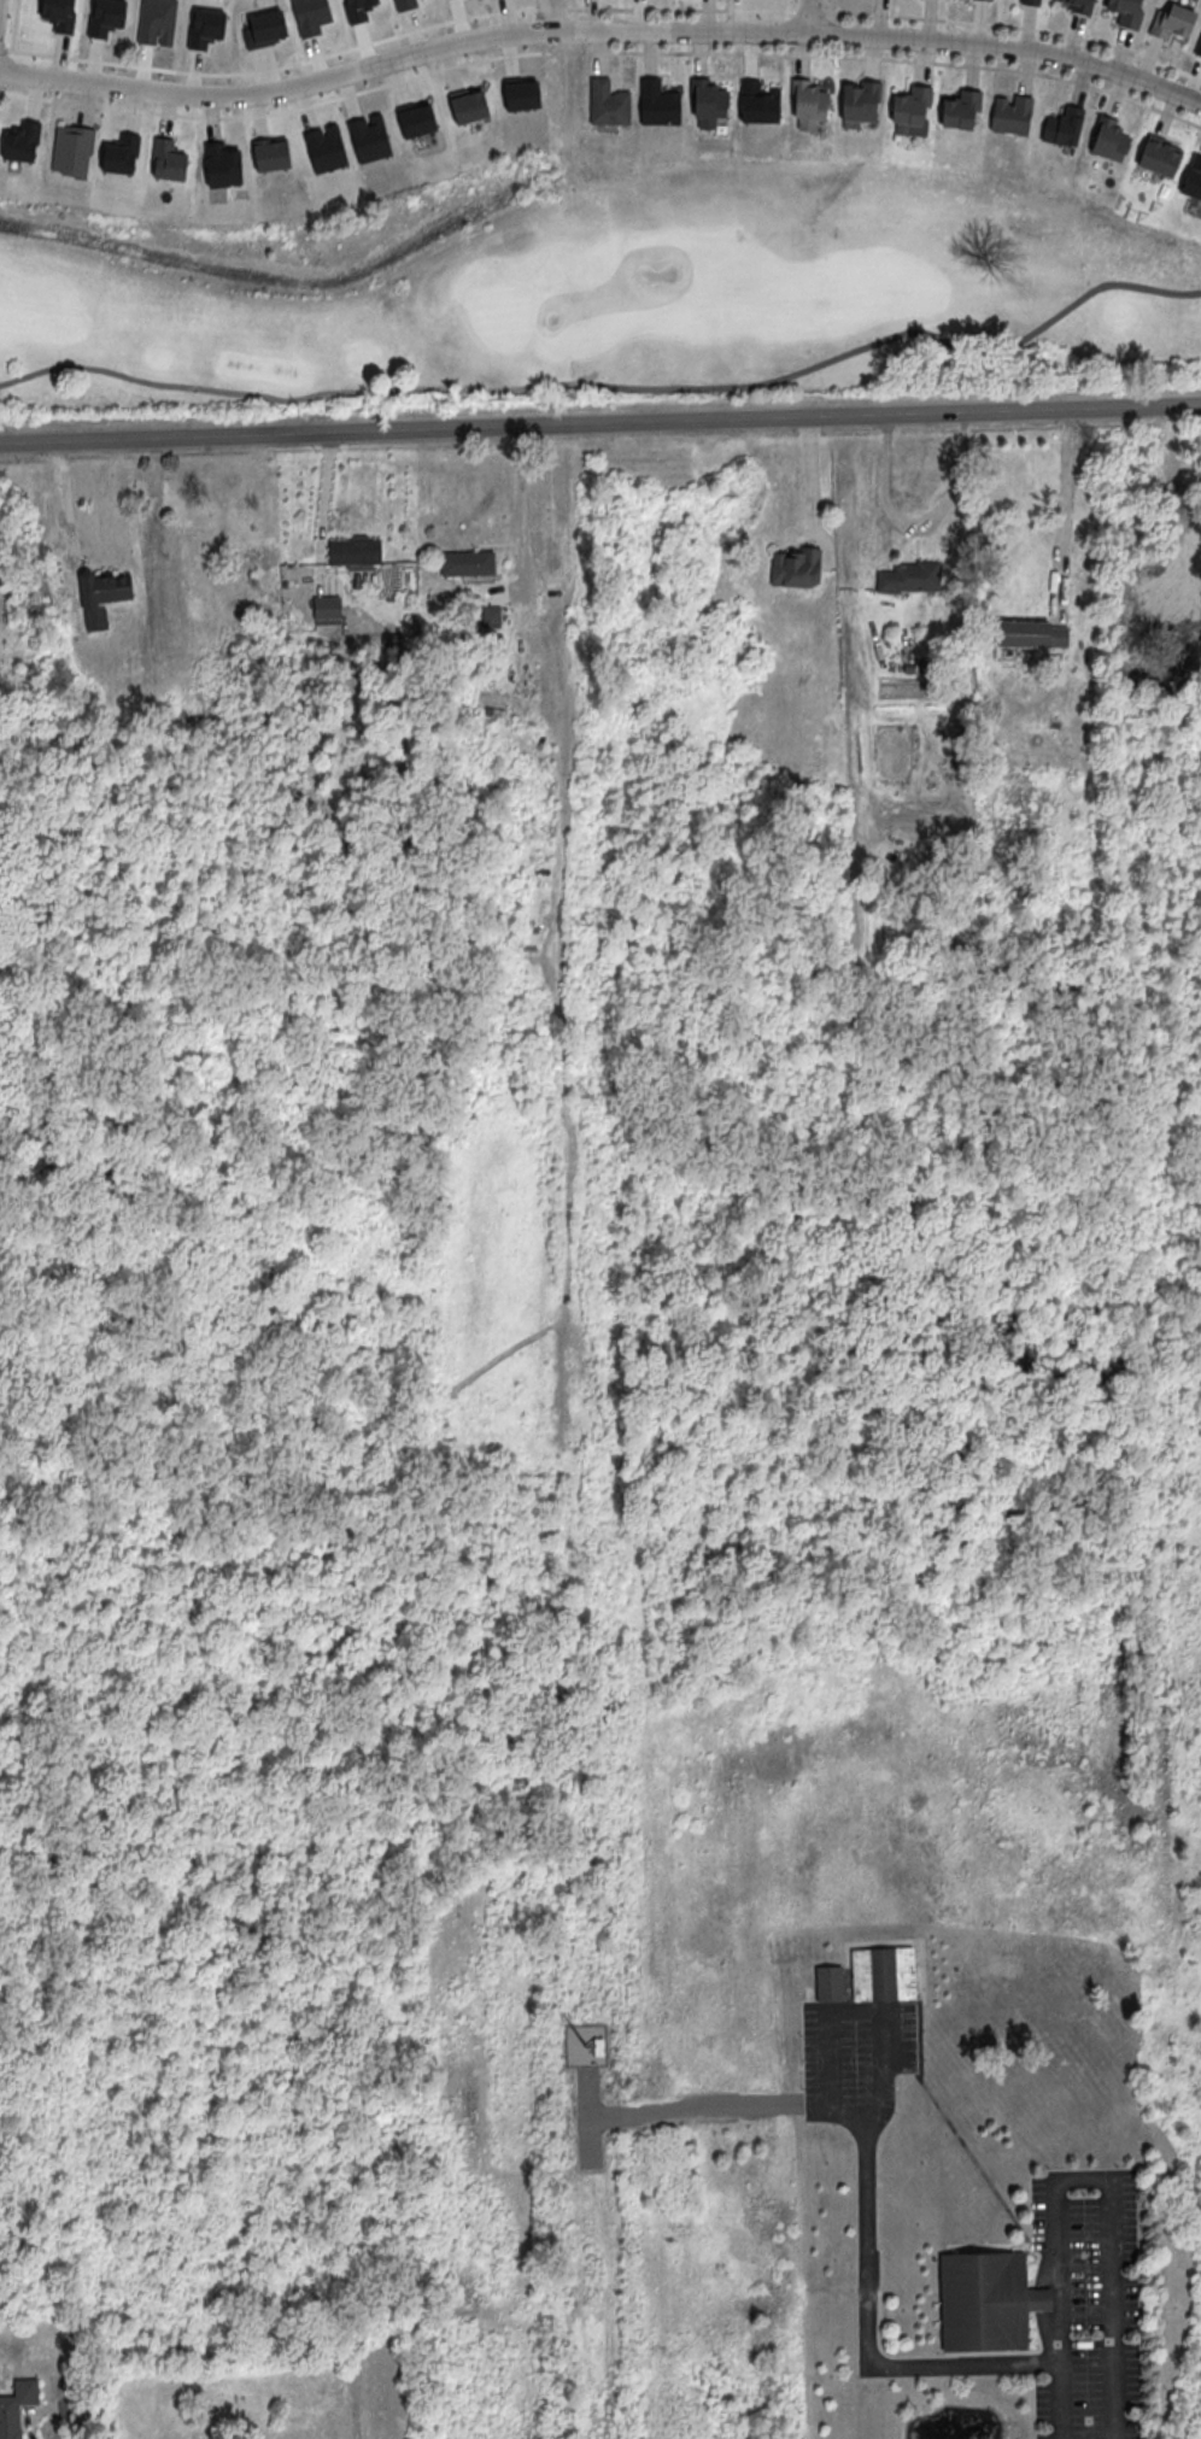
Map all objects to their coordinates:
building: (986, 0)
building: (1030, 2)
road: (830, 5)
building: (1078, 5)
road: (646, 10)
building: (1125, 12)
road: (808, 14)
building: (1170, 20)
road: (1008, 25)
building: (1197, 47)
road: (1010, 49)
road: (405, 54)
road: (898, 59)
building: (860, 100)
building: (608, 102)
building: (757, 102)
building: (807, 102)
building: (656, 104)
building: (957, 107)
building: (711, 109)
building: (910, 111)
building: (1009, 112)
building: (1062, 127)
building: (1108, 142)
building: (72, 149)
building: (1159, 156)
building: (1193, 177)
park: (604, 294)
road: (609, 385)
road: (599, 422)
road: (812, 488)
road: (521, 505)
road: (63, 509)
road: (1065, 510)
road: (919, 526)
building: (353, 551)
building: (467, 563)
building: (795, 568)
building: (908, 577)
building: (102, 592)
building: (326, 609)
building: (490, 616)
building: (1030, 634)
building: (883, 1972)
building: (828, 1983)
building: (598, 2045)
road: (701, 2104)
road: (1079, 2180)
building: (985, 2300)
road: (866, 2332)
building: (16, 2405)

